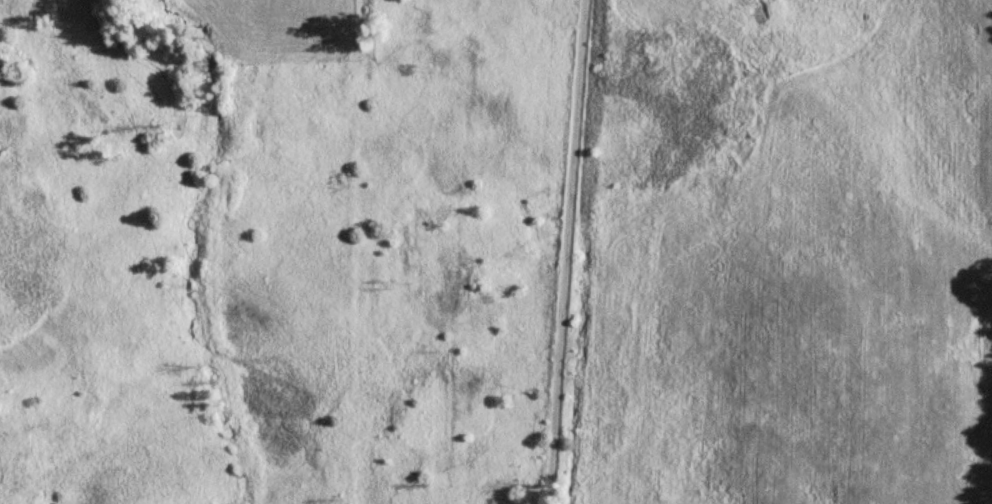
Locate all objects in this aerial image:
road: (566, 251)

